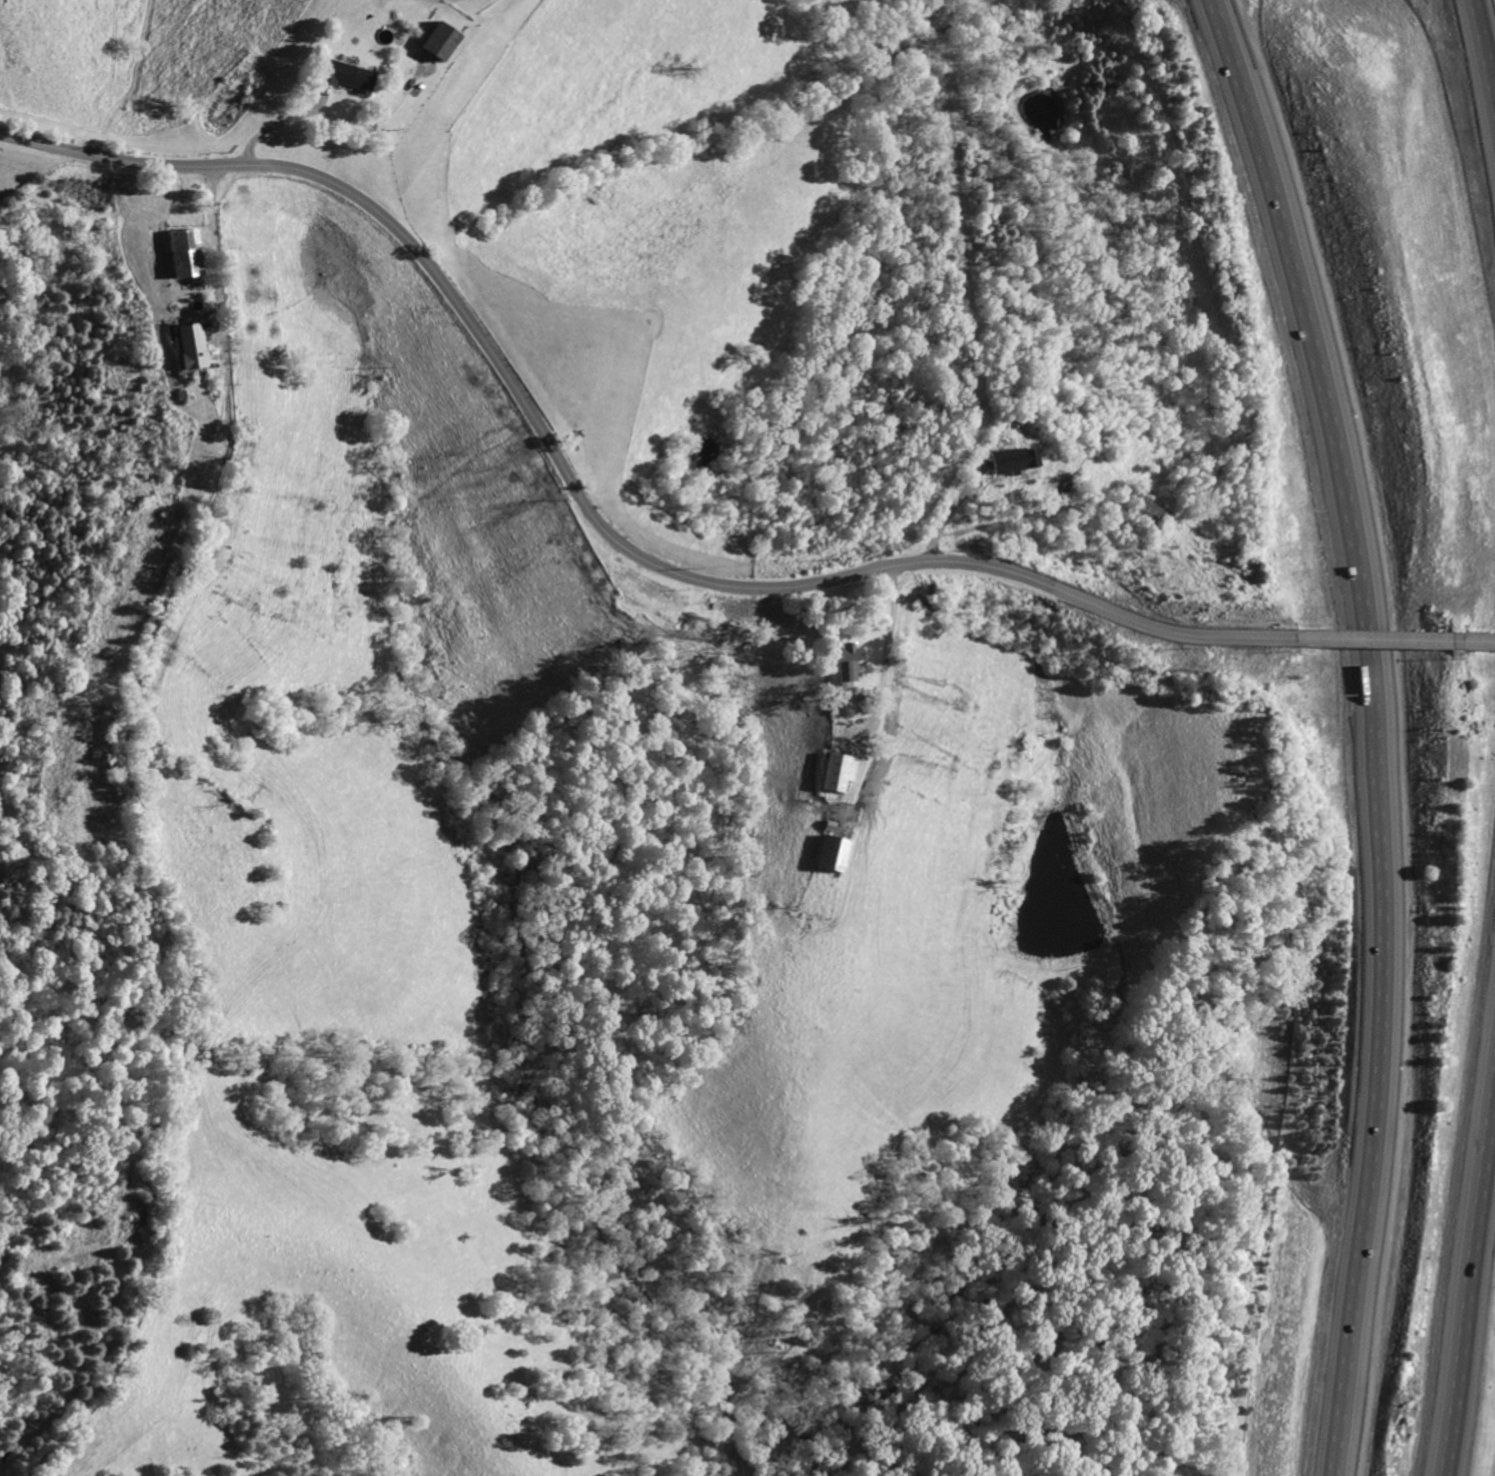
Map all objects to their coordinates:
road: (1488, 24)
building: (446, 41)
building: (357, 78)
building: (187, 251)
building: (195, 347)
building: (1008, 457)
road: (584, 504)
road: (933, 548)
road: (1368, 641)
road: (1449, 643)
road: (1475, 643)
road: (887, 644)
building: (840, 660)
road: (1371, 728)
building: (833, 772)
road: (157, 826)
building: (825, 853)
road: (1477, 1347)

